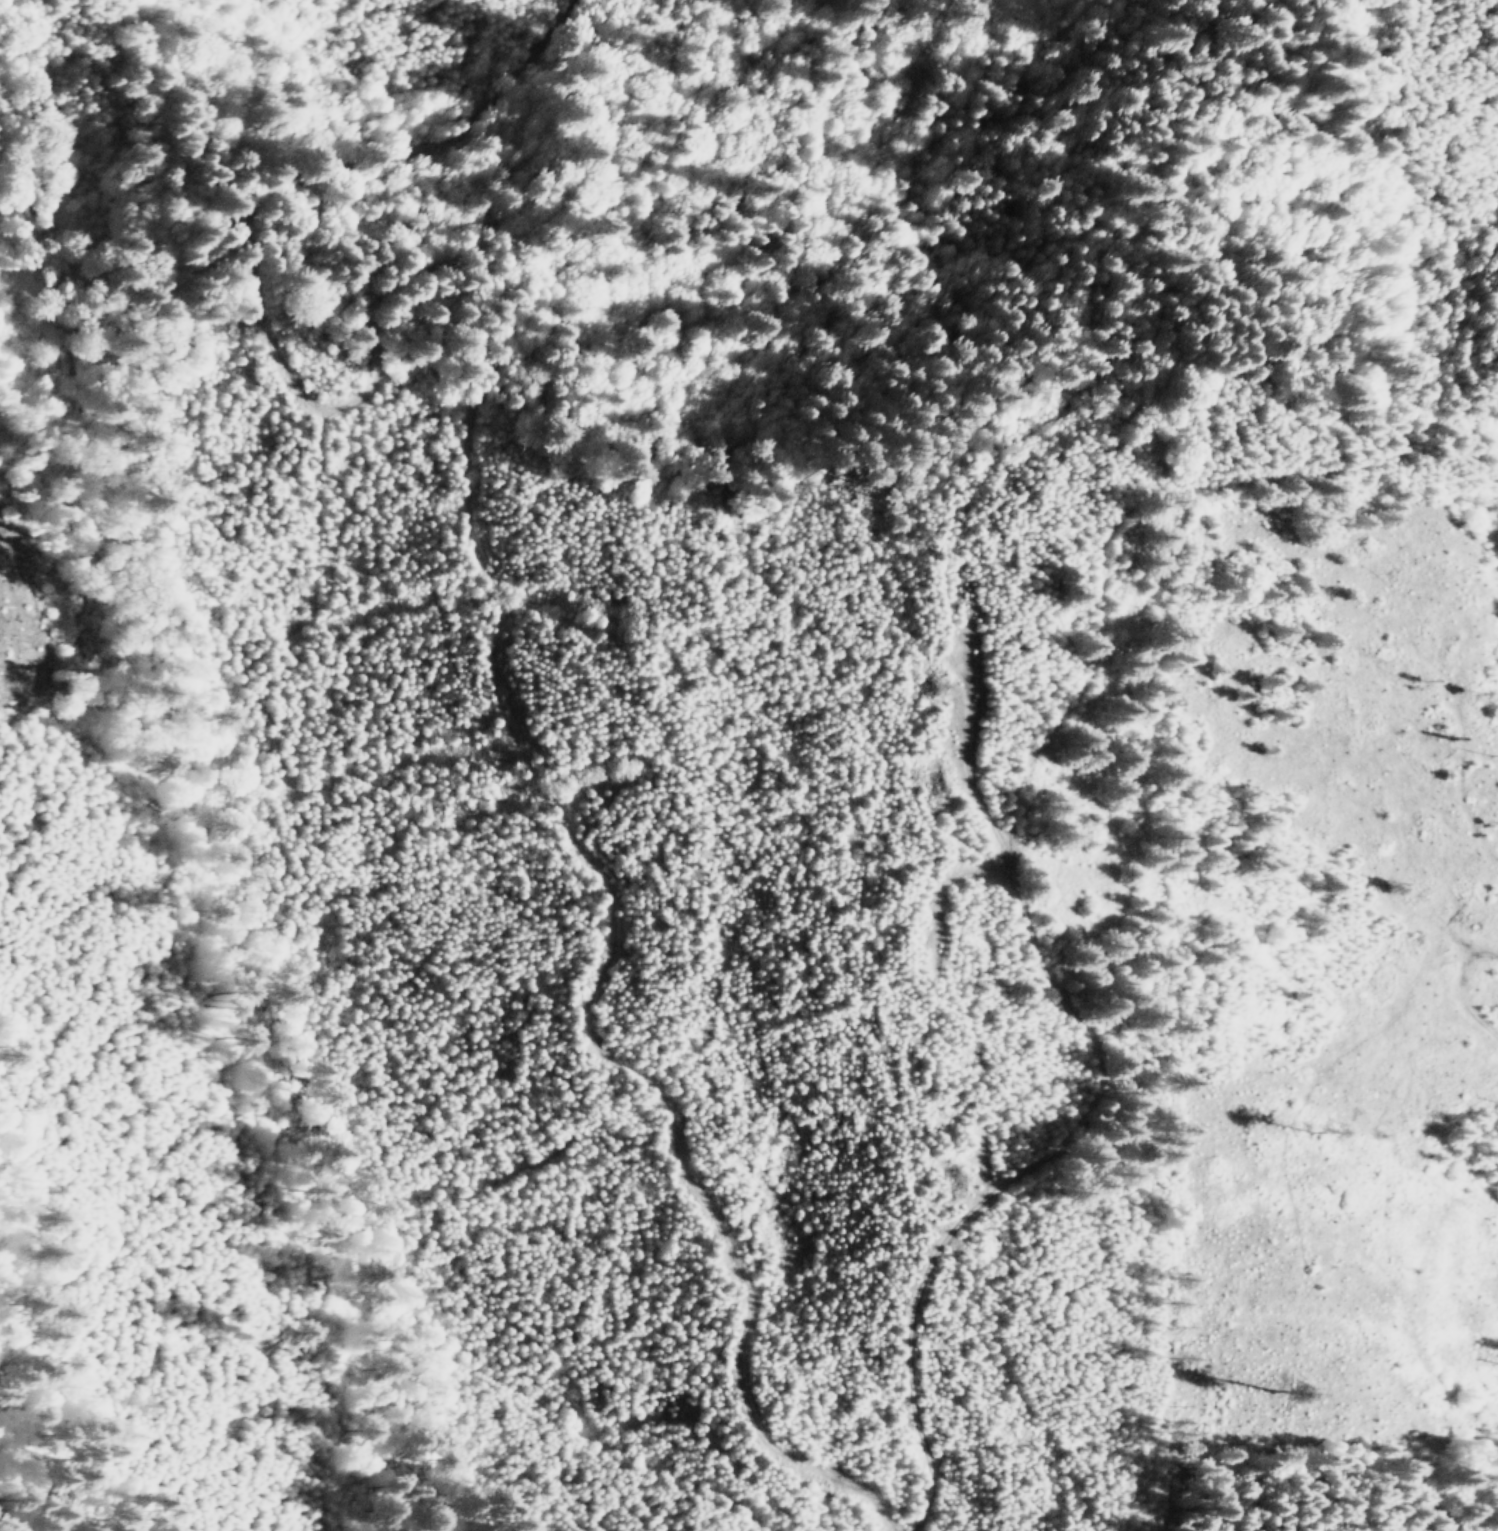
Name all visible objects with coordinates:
road: (1009, 1517)

